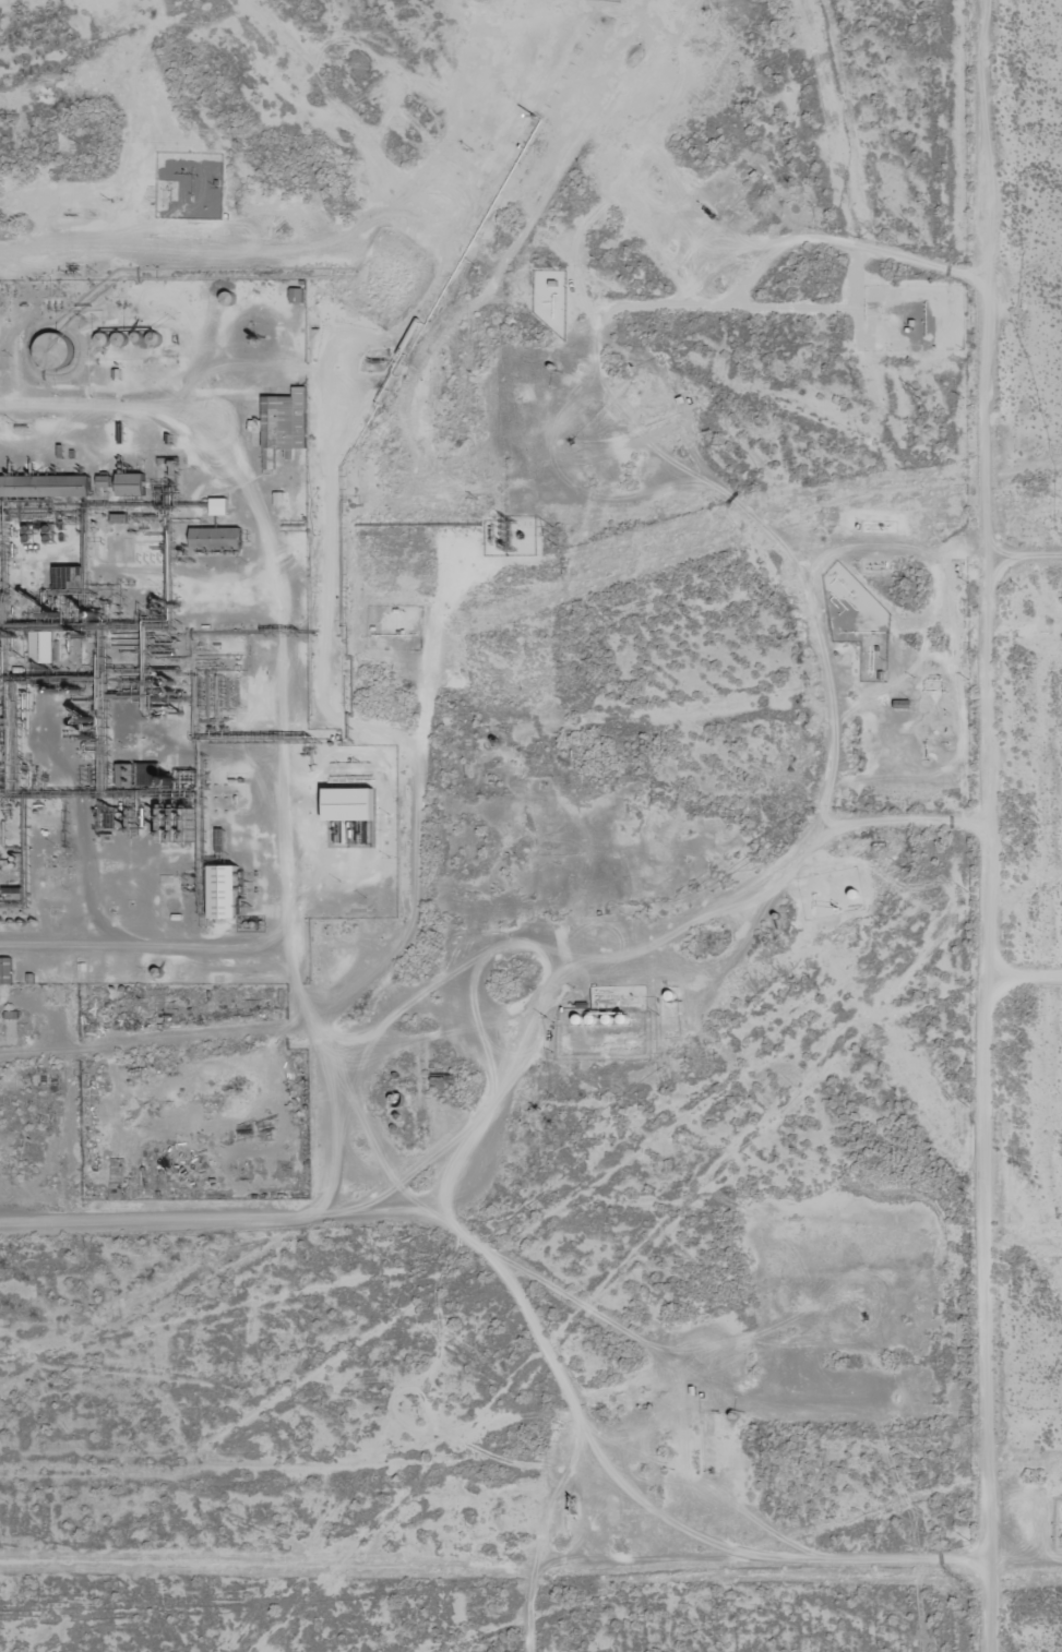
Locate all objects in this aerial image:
building: (56, 349)
power tower: (916, 394)
building: (285, 420)
building: (132, 483)
building: (45, 486)
building: (279, 499)
building: (219, 506)
power tower: (552, 532)
power substation: (521, 535)
building: (216, 538)
building: (41, 647)
building: (349, 804)
road: (969, 825)
building: (225, 893)
road: (644, 996)

